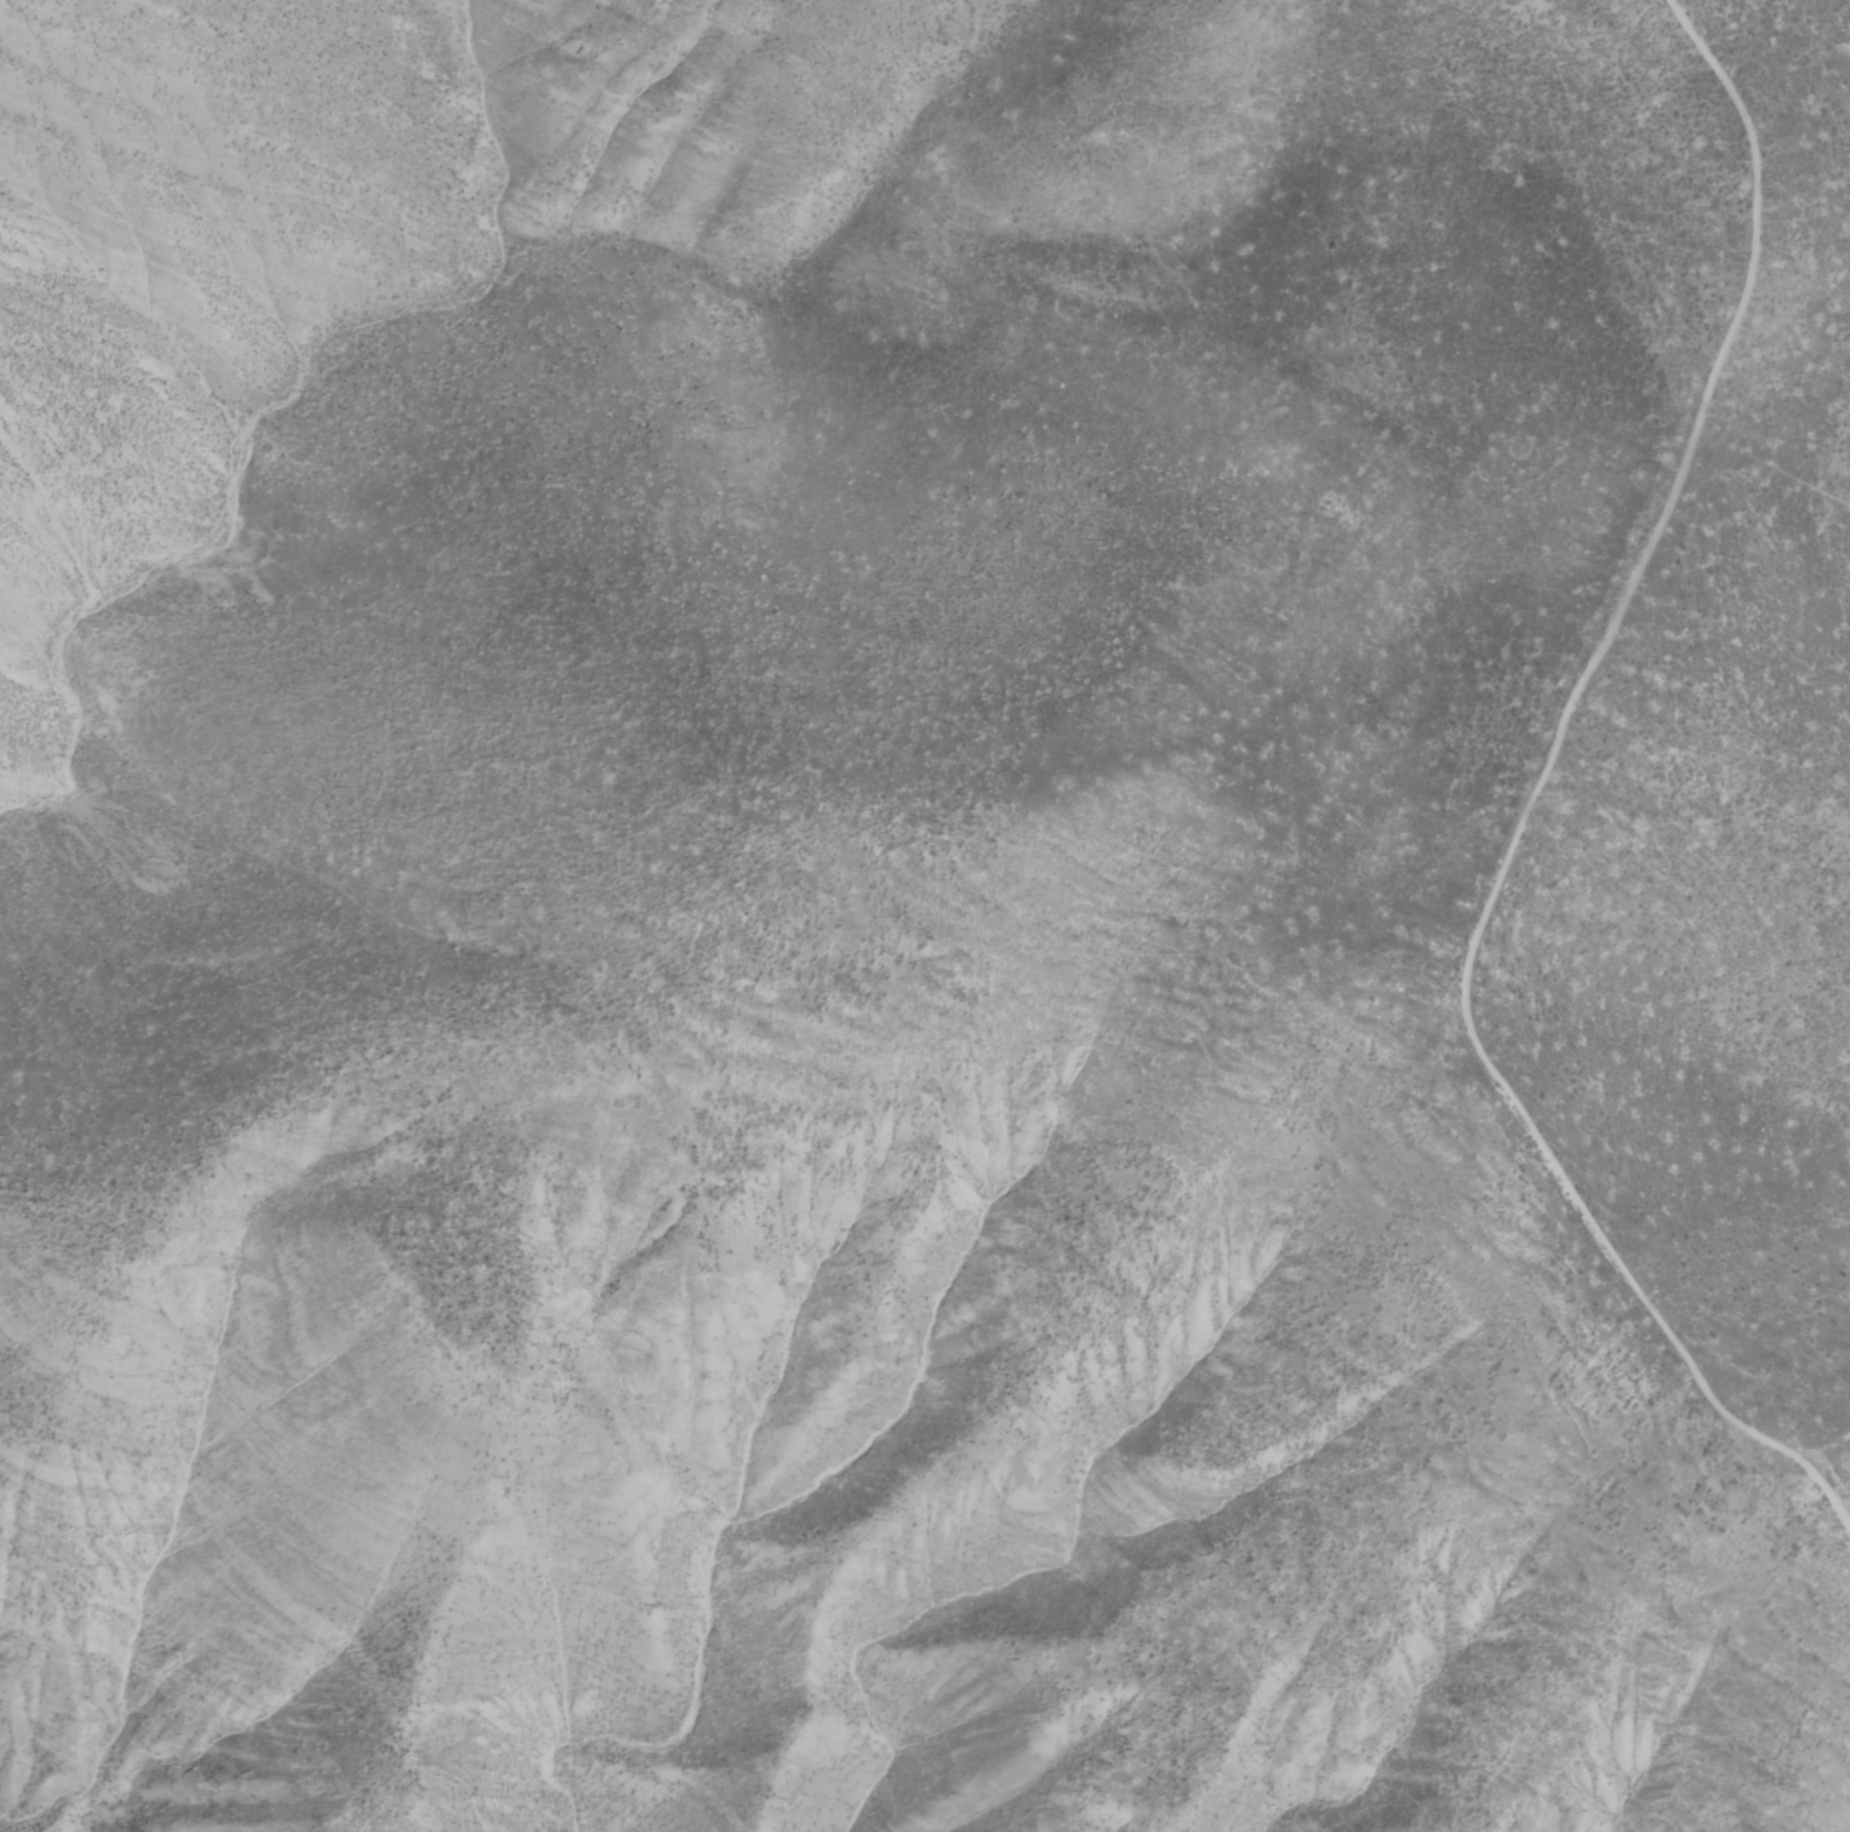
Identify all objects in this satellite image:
road: (1530, 805)

